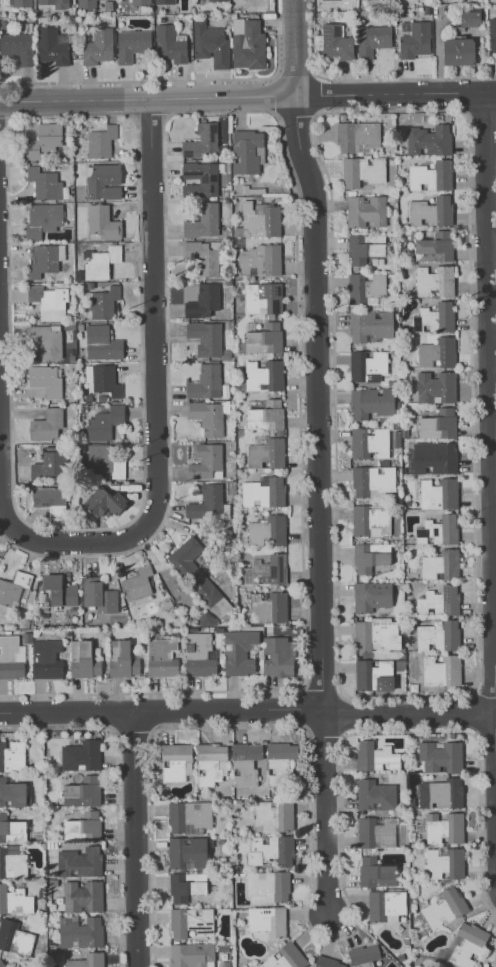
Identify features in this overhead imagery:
building: (217, 0)
building: (466, 0)
building: (164, 1)
building: (140, 2)
building: (21, 3)
building: (54, 3)
building: (86, 4)
building: (470, 17)
building: (492, 34)
building: (371, 40)
building: (415, 40)
building: (335, 42)
building: (170, 43)
building: (210, 43)
building: (247, 43)
building: (53, 44)
building: (131, 44)
building: (97, 46)
building: (17, 47)
building: (458, 51)
road: (368, 78)
road: (175, 79)
road: (394, 92)
road: (146, 100)
building: (357, 136)
building: (43, 139)
building: (202, 140)
building: (428, 140)
building: (101, 141)
building: (247, 152)
building: (361, 171)
building: (431, 177)
building: (200, 178)
building: (103, 181)
building: (366, 211)
building: (431, 211)
building: (43, 218)
building: (260, 220)
building: (102, 222)
building: (203, 222)
building: (365, 249)
building: (433, 249)
road: (492, 251)
building: (202, 256)
building: (44, 258)
building: (259, 260)
building: (100, 262)
building: (434, 280)
building: (365, 287)
building: (262, 299)
road: (157, 300)
building: (203, 300)
building: (103, 301)
building: (48, 302)
building: (437, 316)
building: (370, 324)
building: (205, 337)
building: (264, 338)
building: (46, 340)
building: (101, 343)
road: (314, 352)
building: (436, 352)
building: (367, 364)
building: (263, 375)
building: (101, 379)
building: (45, 380)
building: (205, 382)
building: (435, 386)
building: (371, 402)
building: (265, 416)
building: (206, 417)
building: (46, 424)
building: (437, 424)
building: (369, 443)
road: (494, 444)
road: (493, 445)
building: (265, 453)
building: (433, 457)
building: (104, 460)
building: (206, 461)
building: (50, 462)
building: (372, 480)
building: (263, 491)
building: (438, 493)
building: (50, 500)
building: (105, 501)
building: (370, 520)
building: (268, 530)
building: (437, 530)
road: (16, 531)
building: (370, 556)
building: (440, 565)
building: (266, 570)
building: (198, 576)
building: (137, 584)
building: (13, 588)
building: (59, 590)
building: (97, 594)
building: (371, 595)
building: (439, 601)
building: (267, 607)
building: (377, 633)
building: (438, 636)
building: (239, 651)
building: (199, 654)
building: (278, 656)
building: (11, 657)
building: (161, 657)
building: (46, 659)
building: (83, 659)
building: (122, 659)
building: (441, 670)
building: (373, 674)
road: (226, 710)
road: (66, 712)
road: (408, 714)
building: (12, 755)
building: (80, 755)
building: (376, 757)
building: (442, 757)
building: (176, 761)
building: (210, 763)
building: (281, 763)
building: (246, 764)
building: (82, 791)
building: (12, 793)
building: (442, 793)
building: (375, 795)
road: (323, 810)
building: (188, 815)
building: (275, 816)
building: (83, 824)
building: (445, 828)
building: (11, 829)
building: (376, 833)
road: (134, 839)
building: (271, 851)
building: (186, 853)
building: (81, 860)
building: (12, 861)
building: (446, 864)
building: (376, 873)
building: (185, 886)
building: (268, 887)
building: (83, 896)
building: (14, 900)
building: (386, 905)
building: (445, 909)
road: (301, 914)
building: (189, 921)
building: (269, 921)
building: (79, 931)
building: (14, 937)
building: (469, 945)
building: (192, 954)
building: (364, 956)
building: (286, 958)
building: (87, 960)
building: (328, 963)
building: (1, 964)

